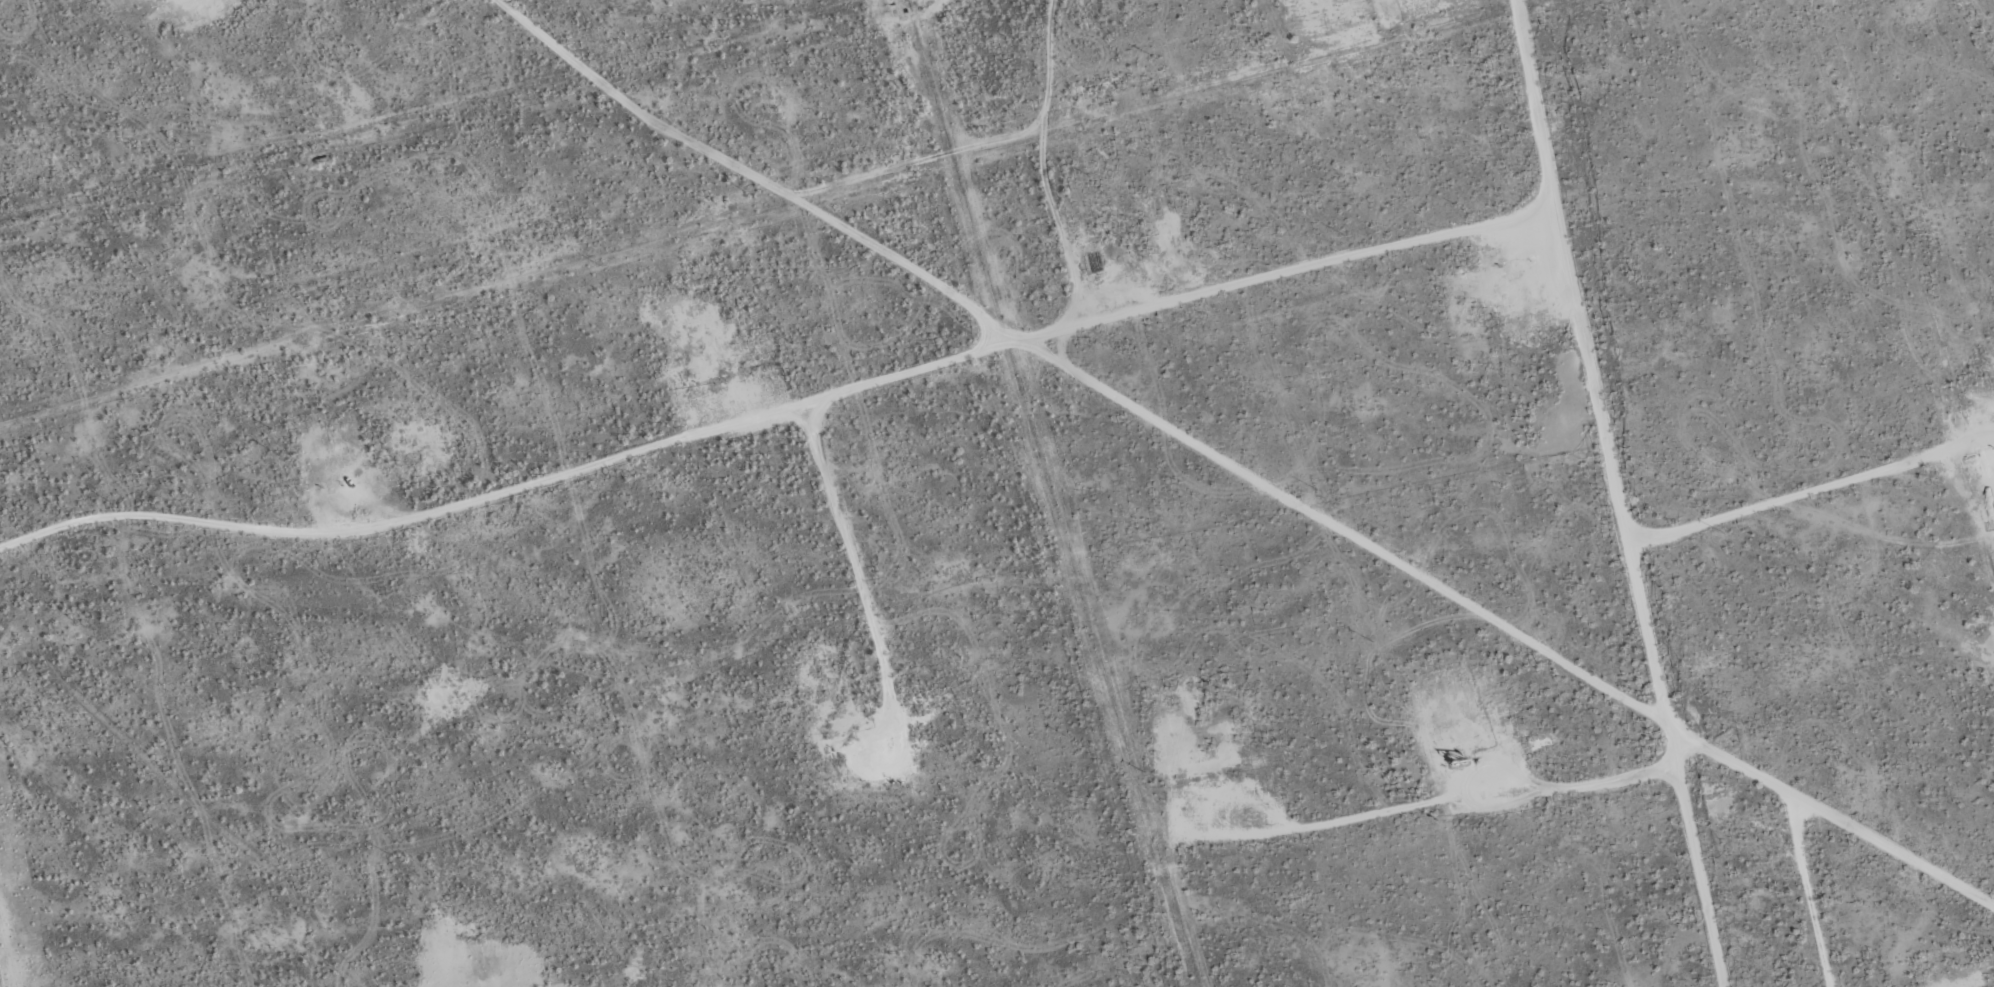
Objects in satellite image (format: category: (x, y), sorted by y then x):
road: (1255, 443)

